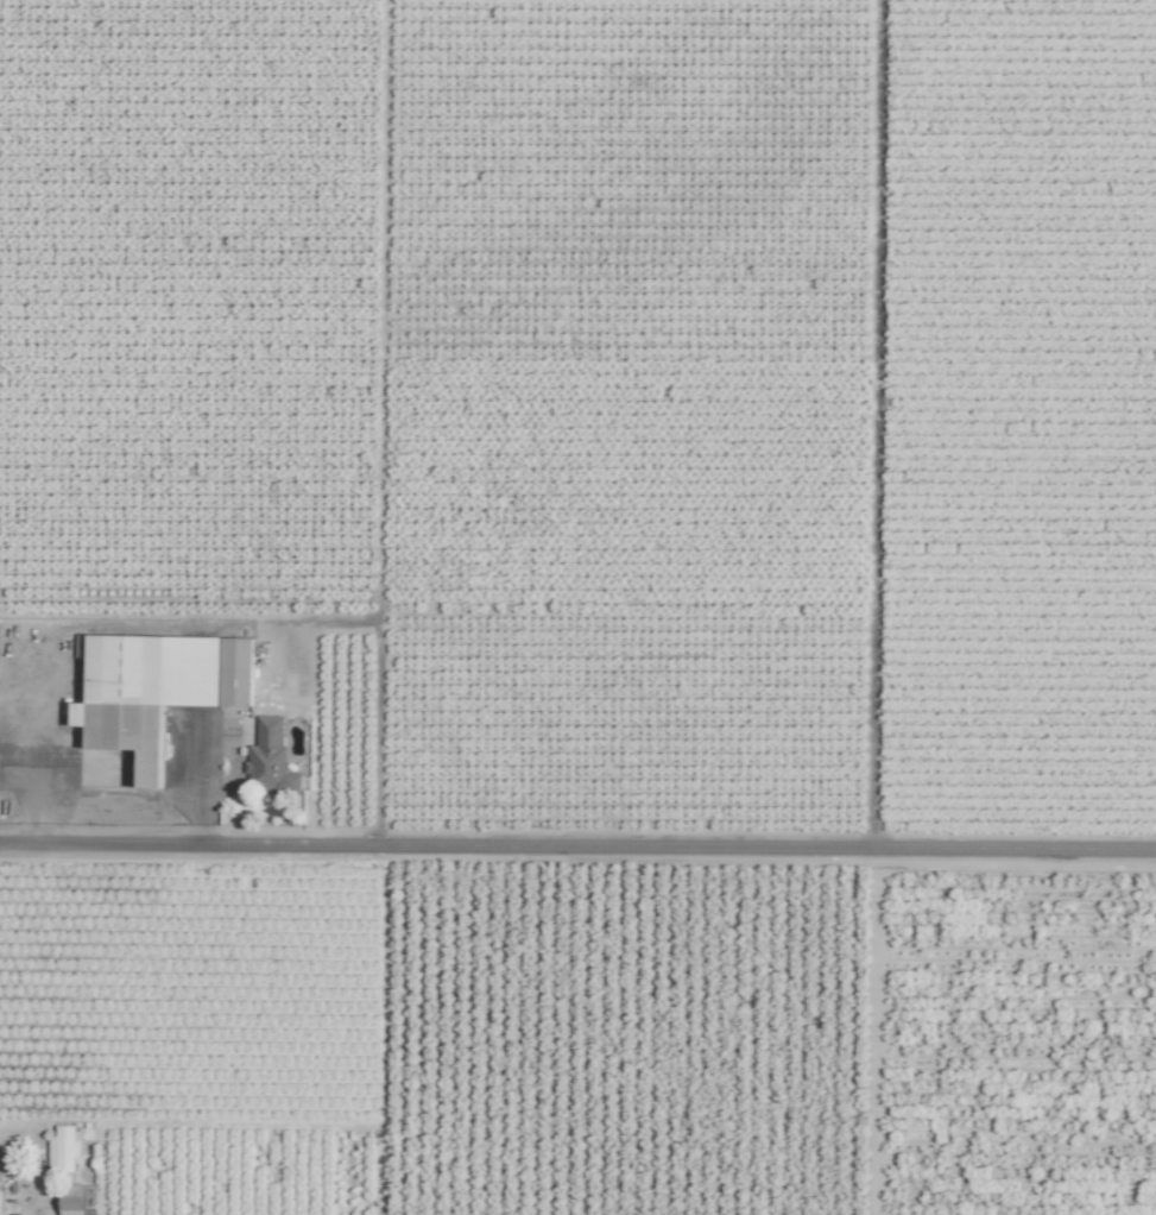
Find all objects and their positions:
building: (160, 692)
building: (270, 756)
road: (200, 786)
road: (26, 787)
road: (110, 806)
road: (577, 845)
building: (69, 1151)
road: (39, 1156)
building: (72, 1201)

